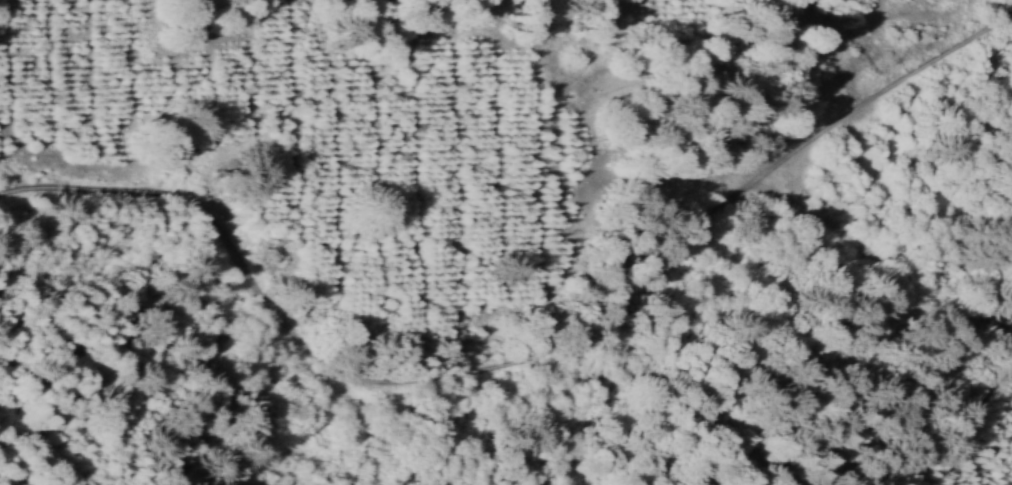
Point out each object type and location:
road: (520, 343)

